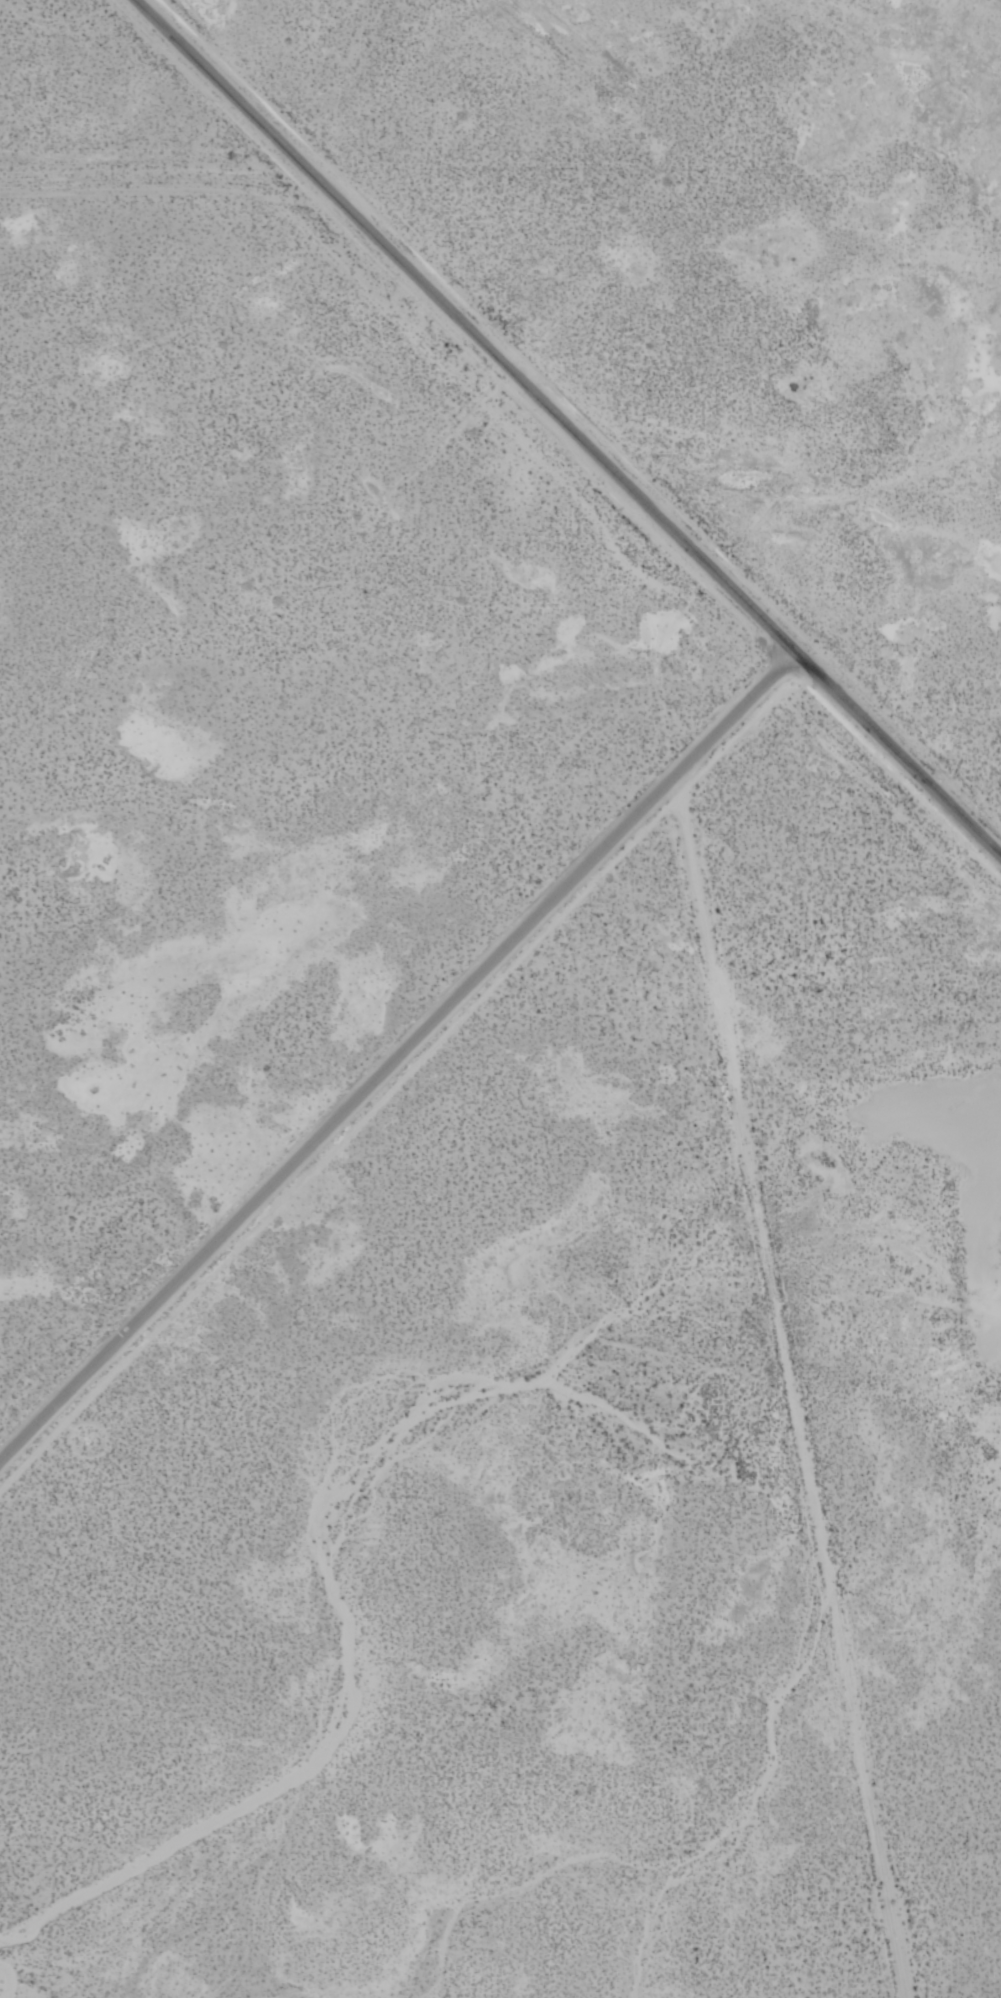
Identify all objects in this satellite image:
road: (567, 428)
road: (397, 1057)
airport: (458, 1201)

